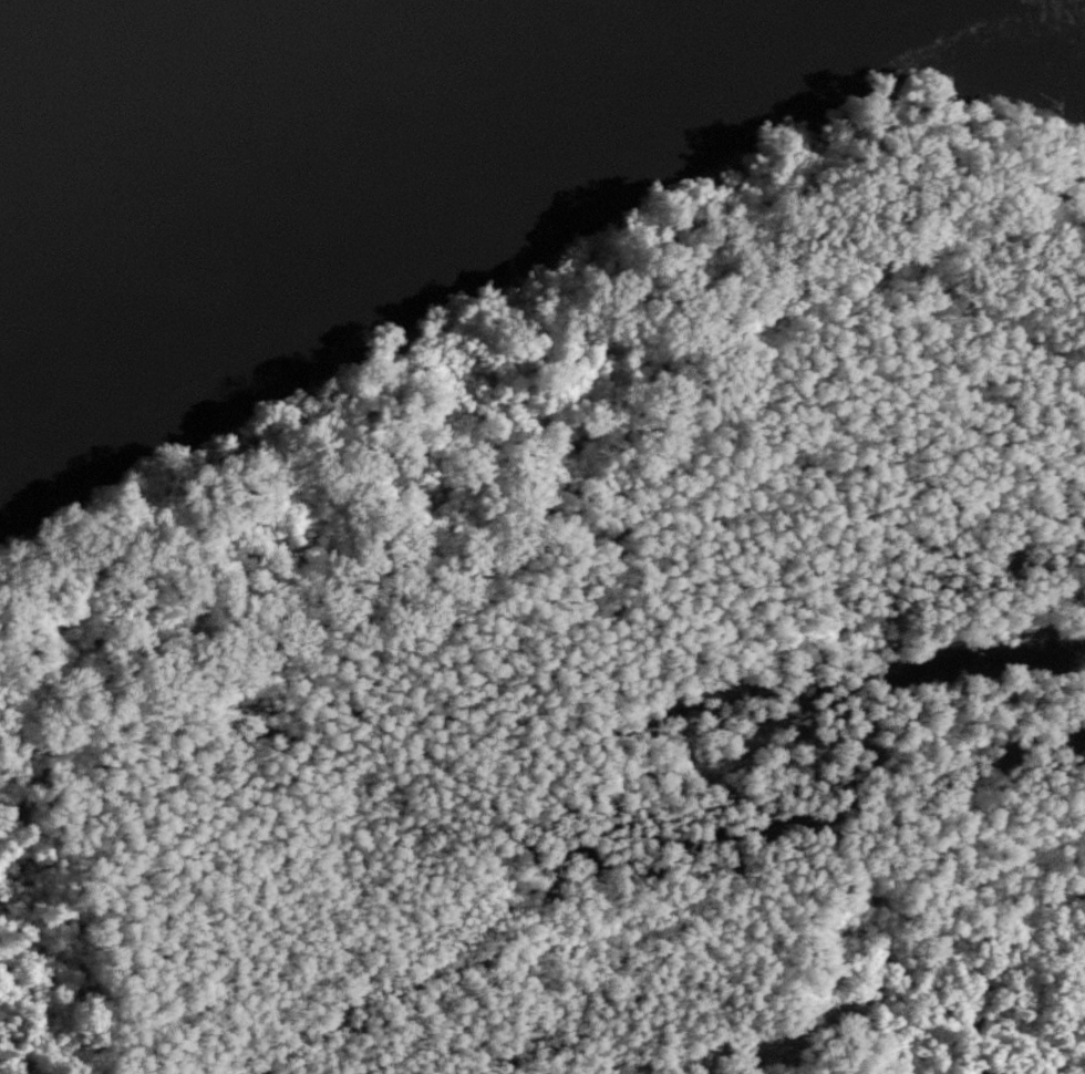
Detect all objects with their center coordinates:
river: (6, 2)

